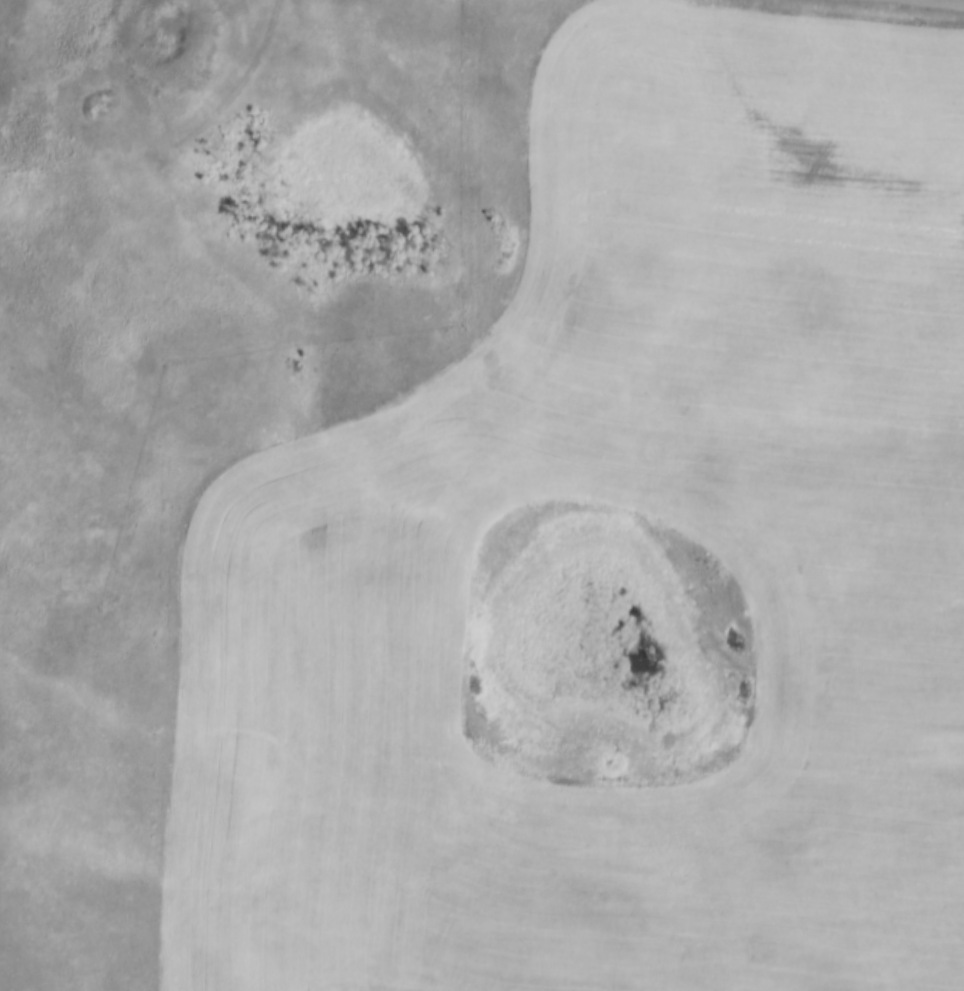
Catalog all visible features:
road: (954, 0)

